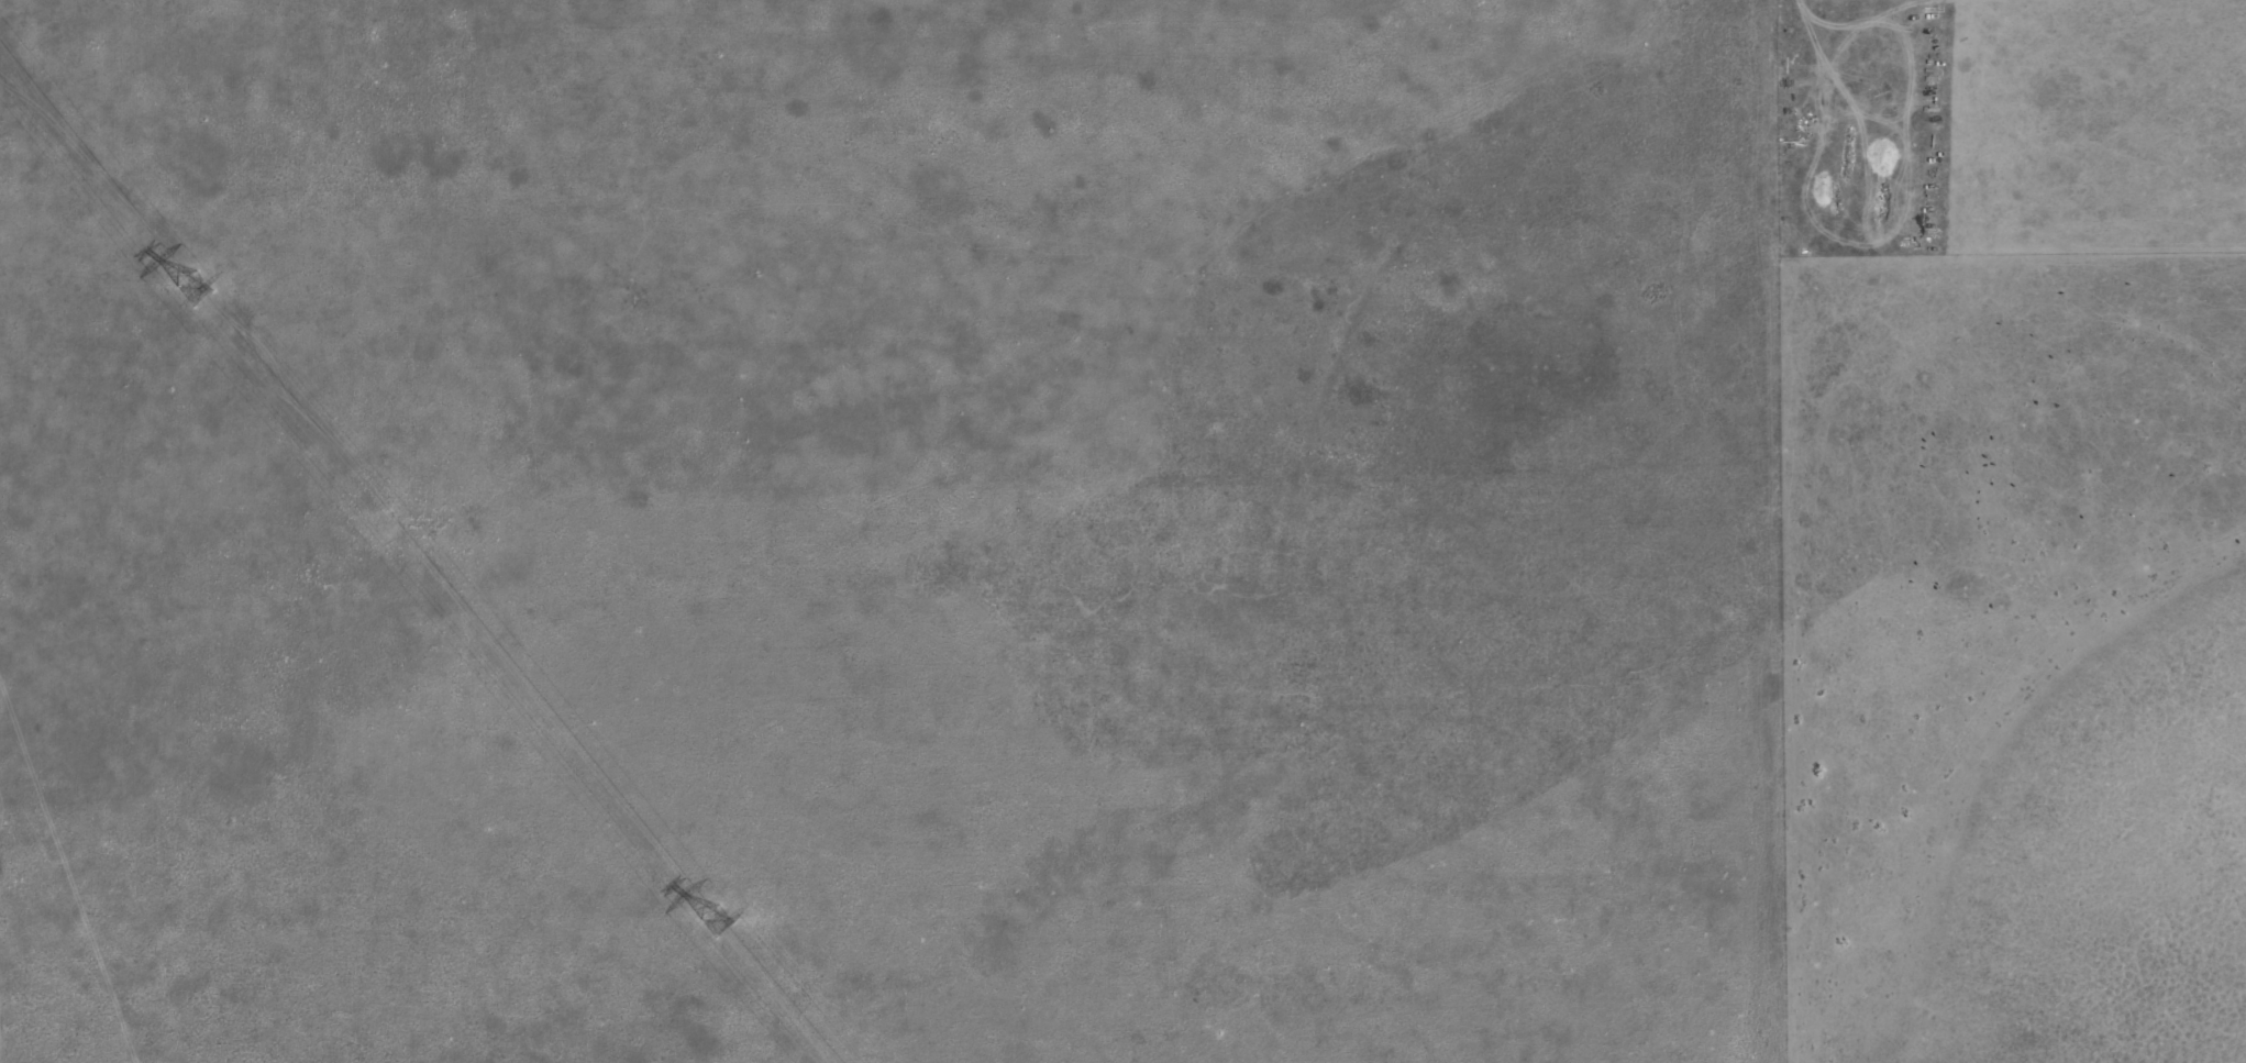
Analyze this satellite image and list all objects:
power tower: (195, 289)
power tower: (719, 921)

